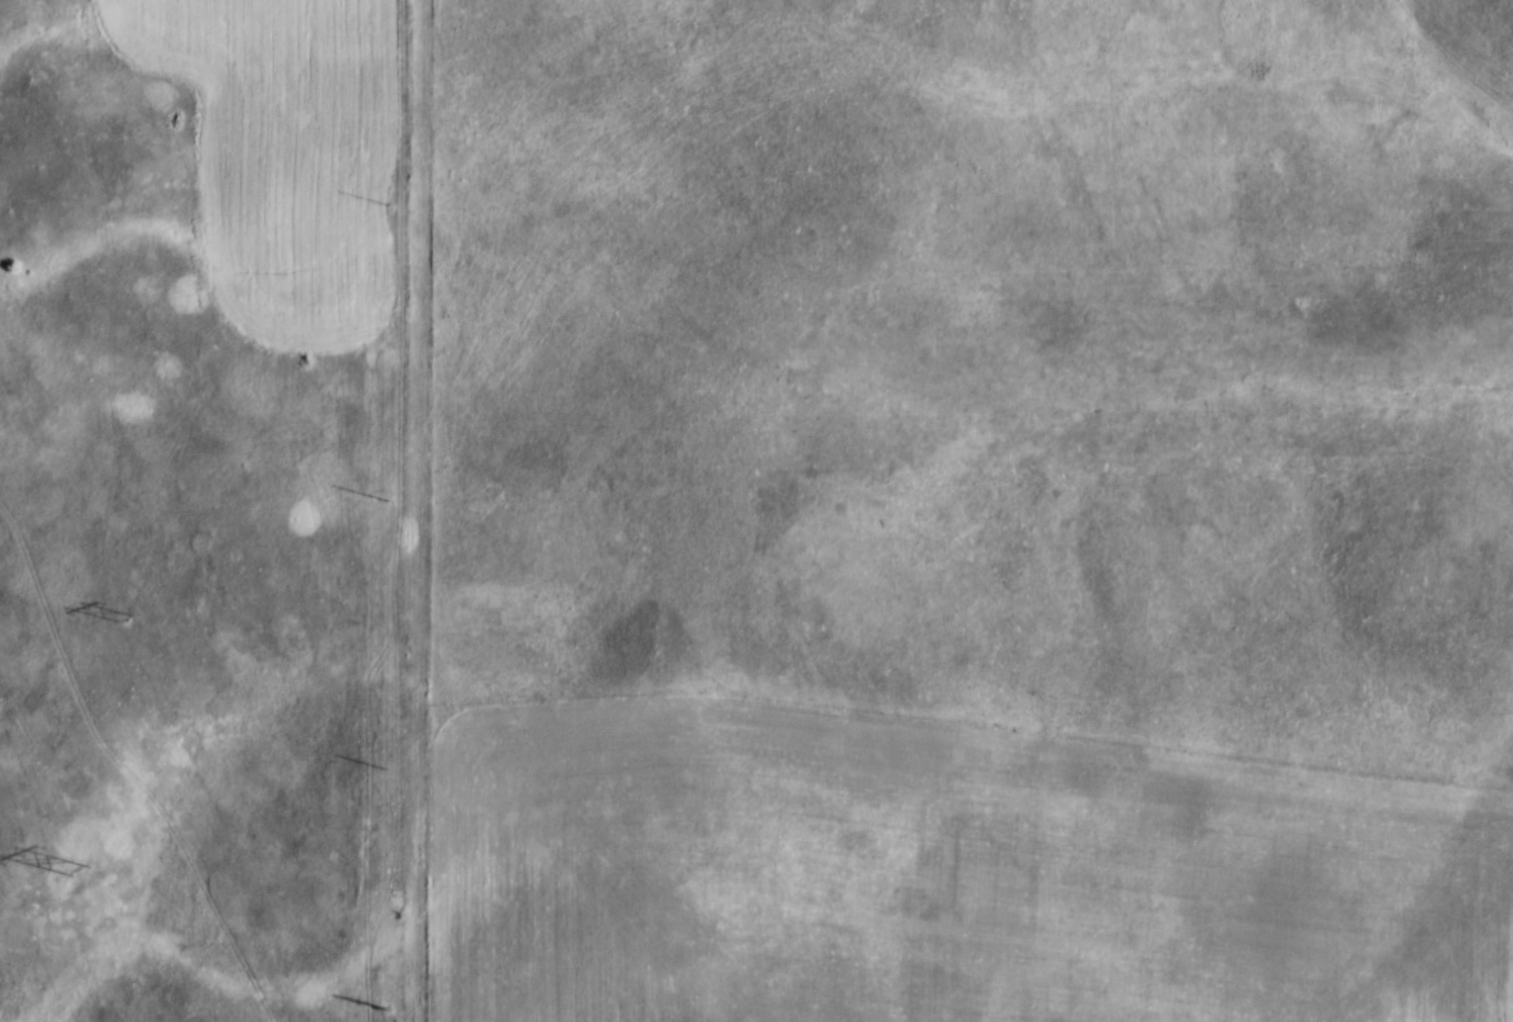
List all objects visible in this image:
power tower: (113, 626)

